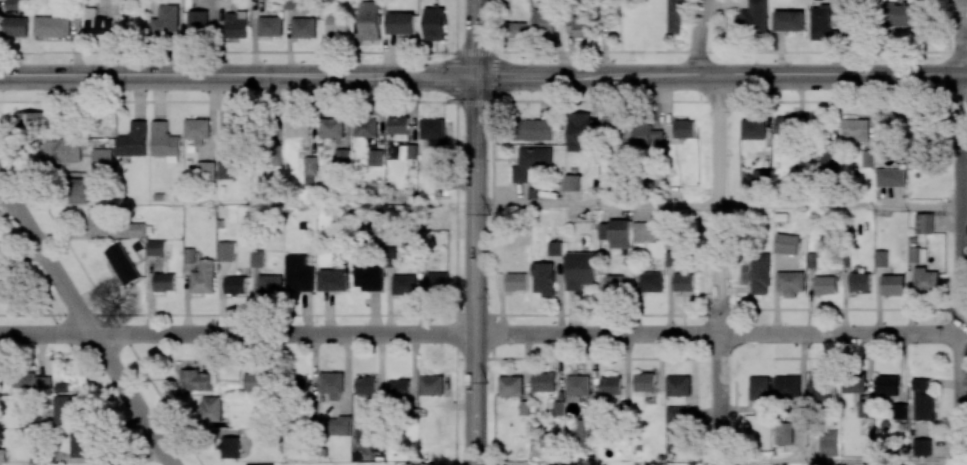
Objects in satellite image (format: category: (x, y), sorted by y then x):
building: (858, 0)
building: (9, 5)
building: (902, 15)
building: (675, 16)
building: (753, 17)
building: (370, 20)
building: (789, 20)
building: (166, 21)
building: (198, 21)
building: (96, 23)
building: (401, 23)
building: (434, 23)
building: (544, 23)
building: (820, 23)
building: (236, 24)
building: (337, 25)
building: (581, 25)
building: (16, 26)
building: (52, 26)
building: (270, 26)
building: (303, 27)
building: (517, 30)
road: (698, 37)
road: (474, 38)
road: (963, 38)
road: (237, 76)
traffic signals: (474, 76)
road: (720, 76)
building: (32, 121)
building: (613, 125)
building: (785, 125)
building: (234, 127)
building: (297, 127)
building: (364, 127)
building: (398, 127)
building: (331, 128)
building: (431, 128)
building: (684, 128)
building: (533, 129)
building: (753, 129)
building: (855, 129)
building: (197, 131)
building: (579, 131)
building: (647, 136)
building: (133, 140)
building: (164, 142)
building: (63, 151)
building: (342, 156)
building: (375, 157)
building: (103, 159)
building: (530, 161)
building: (438, 162)
building: (826, 163)
building: (310, 165)
building: (206, 170)
building: (890, 177)
building: (761, 178)
building: (572, 182)
building: (79, 191)
road: (595, 205)
road: (840, 205)
building: (100, 220)
building: (924, 223)
building: (643, 231)
building: (615, 232)
building: (786, 243)
building: (156, 247)
building: (554, 248)
building: (226, 251)
building: (917, 254)
building: (189, 255)
building: (257, 258)
building: (672, 258)
building: (881, 258)
building: (122, 263)
road: (473, 270)
building: (579, 270)
road: (718, 270)
road: (963, 270)
building: (298, 273)
building: (760, 273)
building: (203, 277)
building: (368, 277)
building: (543, 279)
building: (333, 280)
building: (926, 280)
building: (164, 281)
building: (437, 281)
building: (516, 281)
building: (650, 281)
building: (860, 281)
building: (683, 282)
building: (615, 283)
building: (790, 283)
building: (269, 284)
building: (405, 284)
building: (893, 284)
building: (235, 285)
building: (826, 285)
road: (86, 322)
road: (236, 334)
road: (719, 335)
building: (195, 380)
building: (252, 381)
building: (644, 381)
building: (31, 382)
building: (543, 382)
building: (853, 382)
building: (300, 383)
building: (331, 384)
building: (366, 385)
building: (431, 385)
building: (510, 385)
building: (610, 385)
building: (820, 385)
building: (887, 385)
building: (678, 386)
building: (787, 386)
building: (577, 387)
building: (399, 388)
building: (759, 388)
building: (923, 400)
building: (210, 408)
building: (864, 408)
building: (65, 409)
building: (899, 411)
building: (676, 420)
building: (337, 426)
building: (584, 433)
building: (783, 433)
building: (828, 442)
building: (82, 443)
building: (922, 446)
building: (229, 447)
road: (841, 462)
building: (259, 464)
building: (429, 464)

